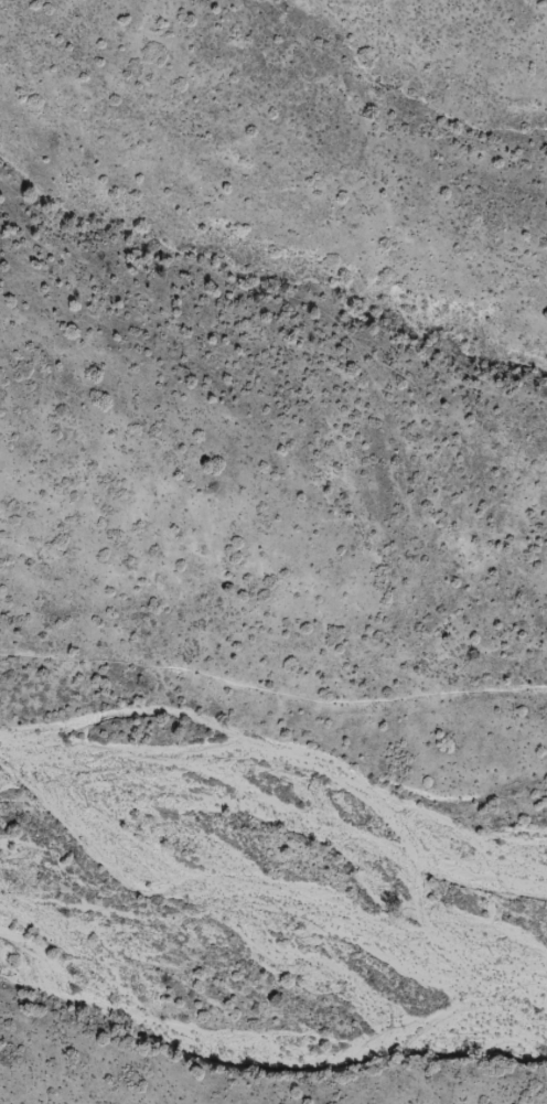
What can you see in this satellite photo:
road: (271, 690)
river: (278, 814)

